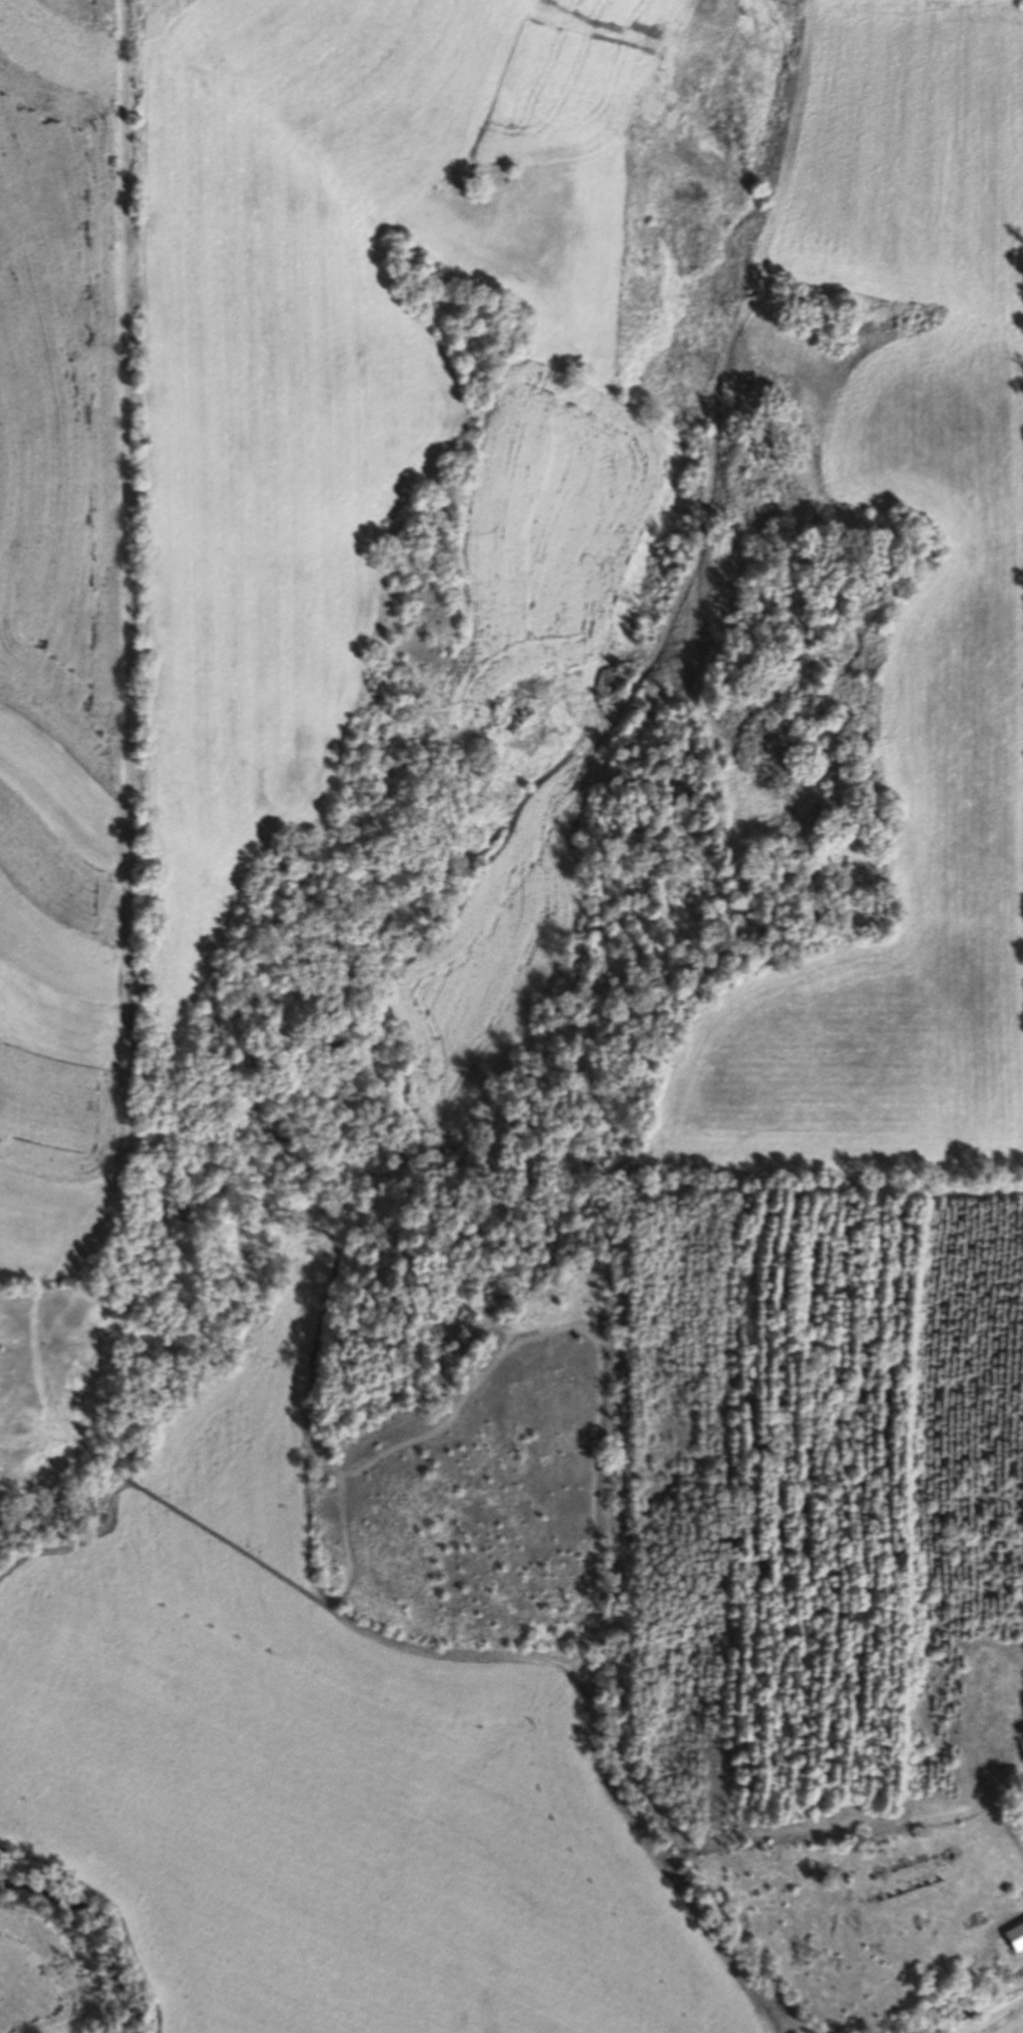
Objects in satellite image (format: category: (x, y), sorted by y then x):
road: (85, 1445)
building: (1000, 1951)

